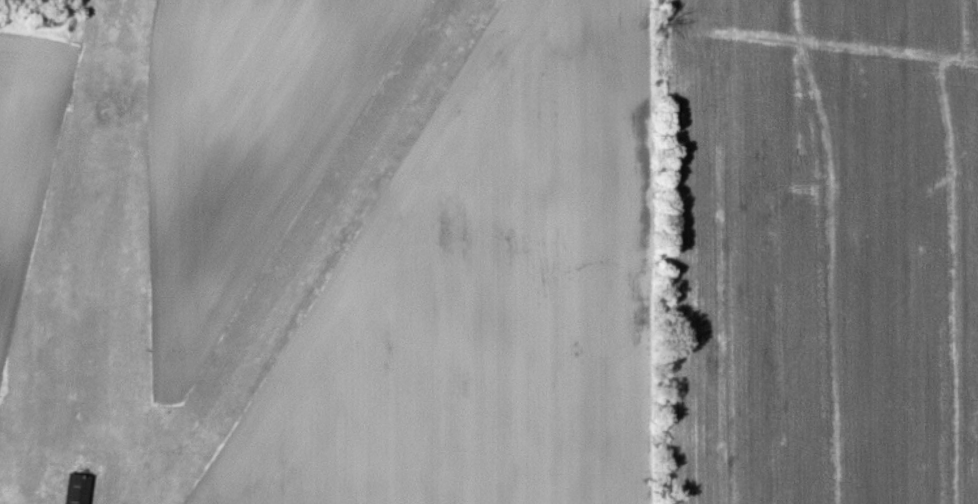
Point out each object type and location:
airport runway: (331, 213)
airport: (270, 287)
airport hangar: (76, 489)
building: (76, 489)

